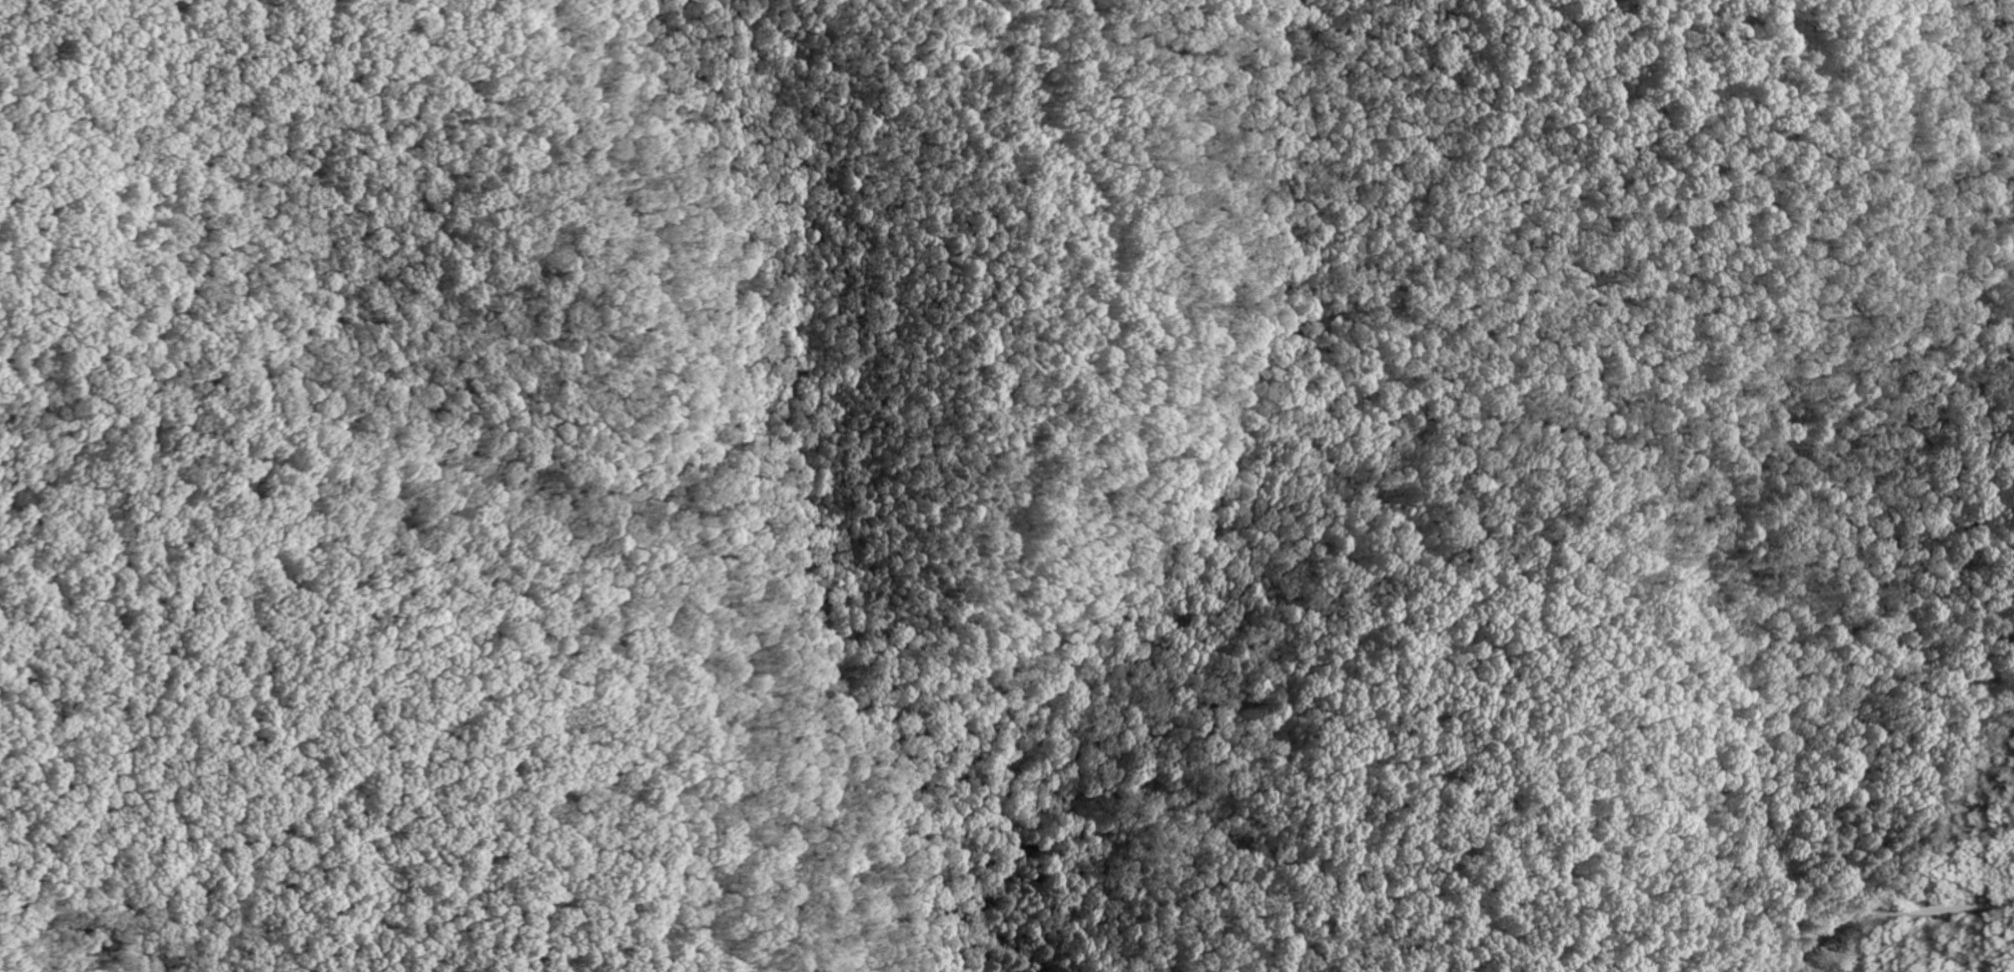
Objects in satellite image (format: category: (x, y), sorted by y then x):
road: (1887, 913)

